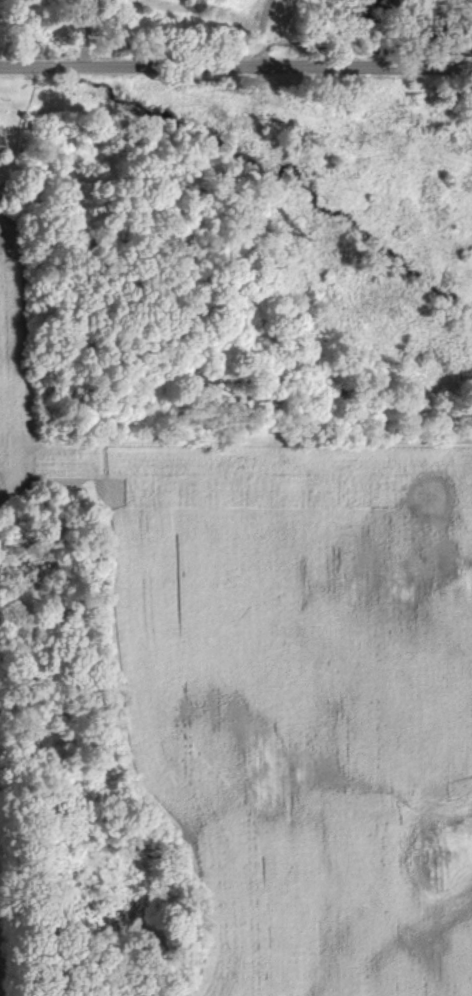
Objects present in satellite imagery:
road: (265, 30)
road: (87, 32)
road: (236, 63)
building: (1, 143)

